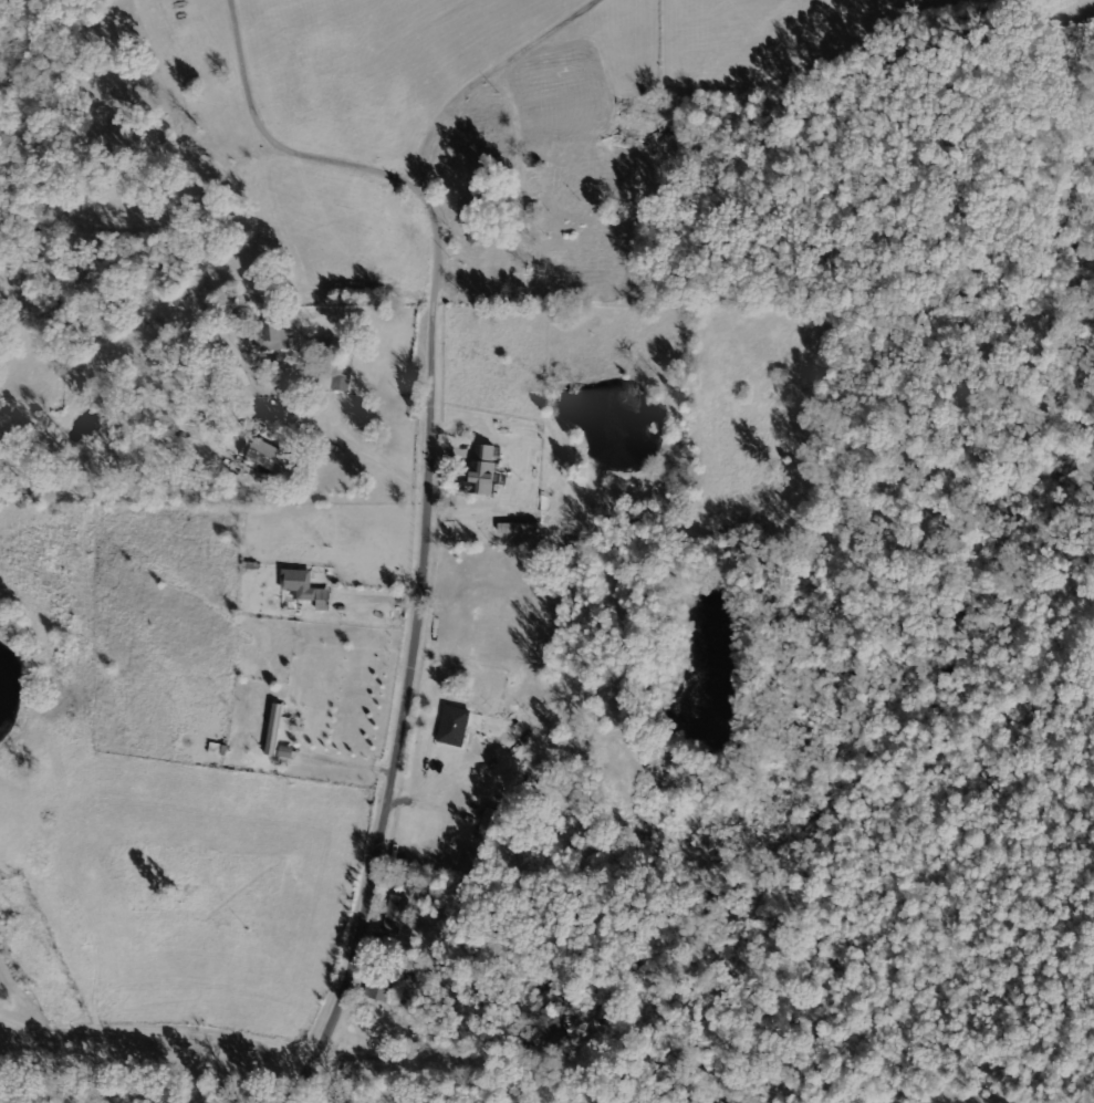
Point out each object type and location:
road: (488, 76)
road: (402, 176)
building: (271, 334)
building: (336, 376)
building: (264, 455)
building: (481, 471)
road: (430, 540)
building: (305, 589)
building: (454, 726)
building: (275, 727)
building: (217, 749)
building: (490, 825)
building: (395, 914)
road: (162, 1038)
road: (411, 1059)

